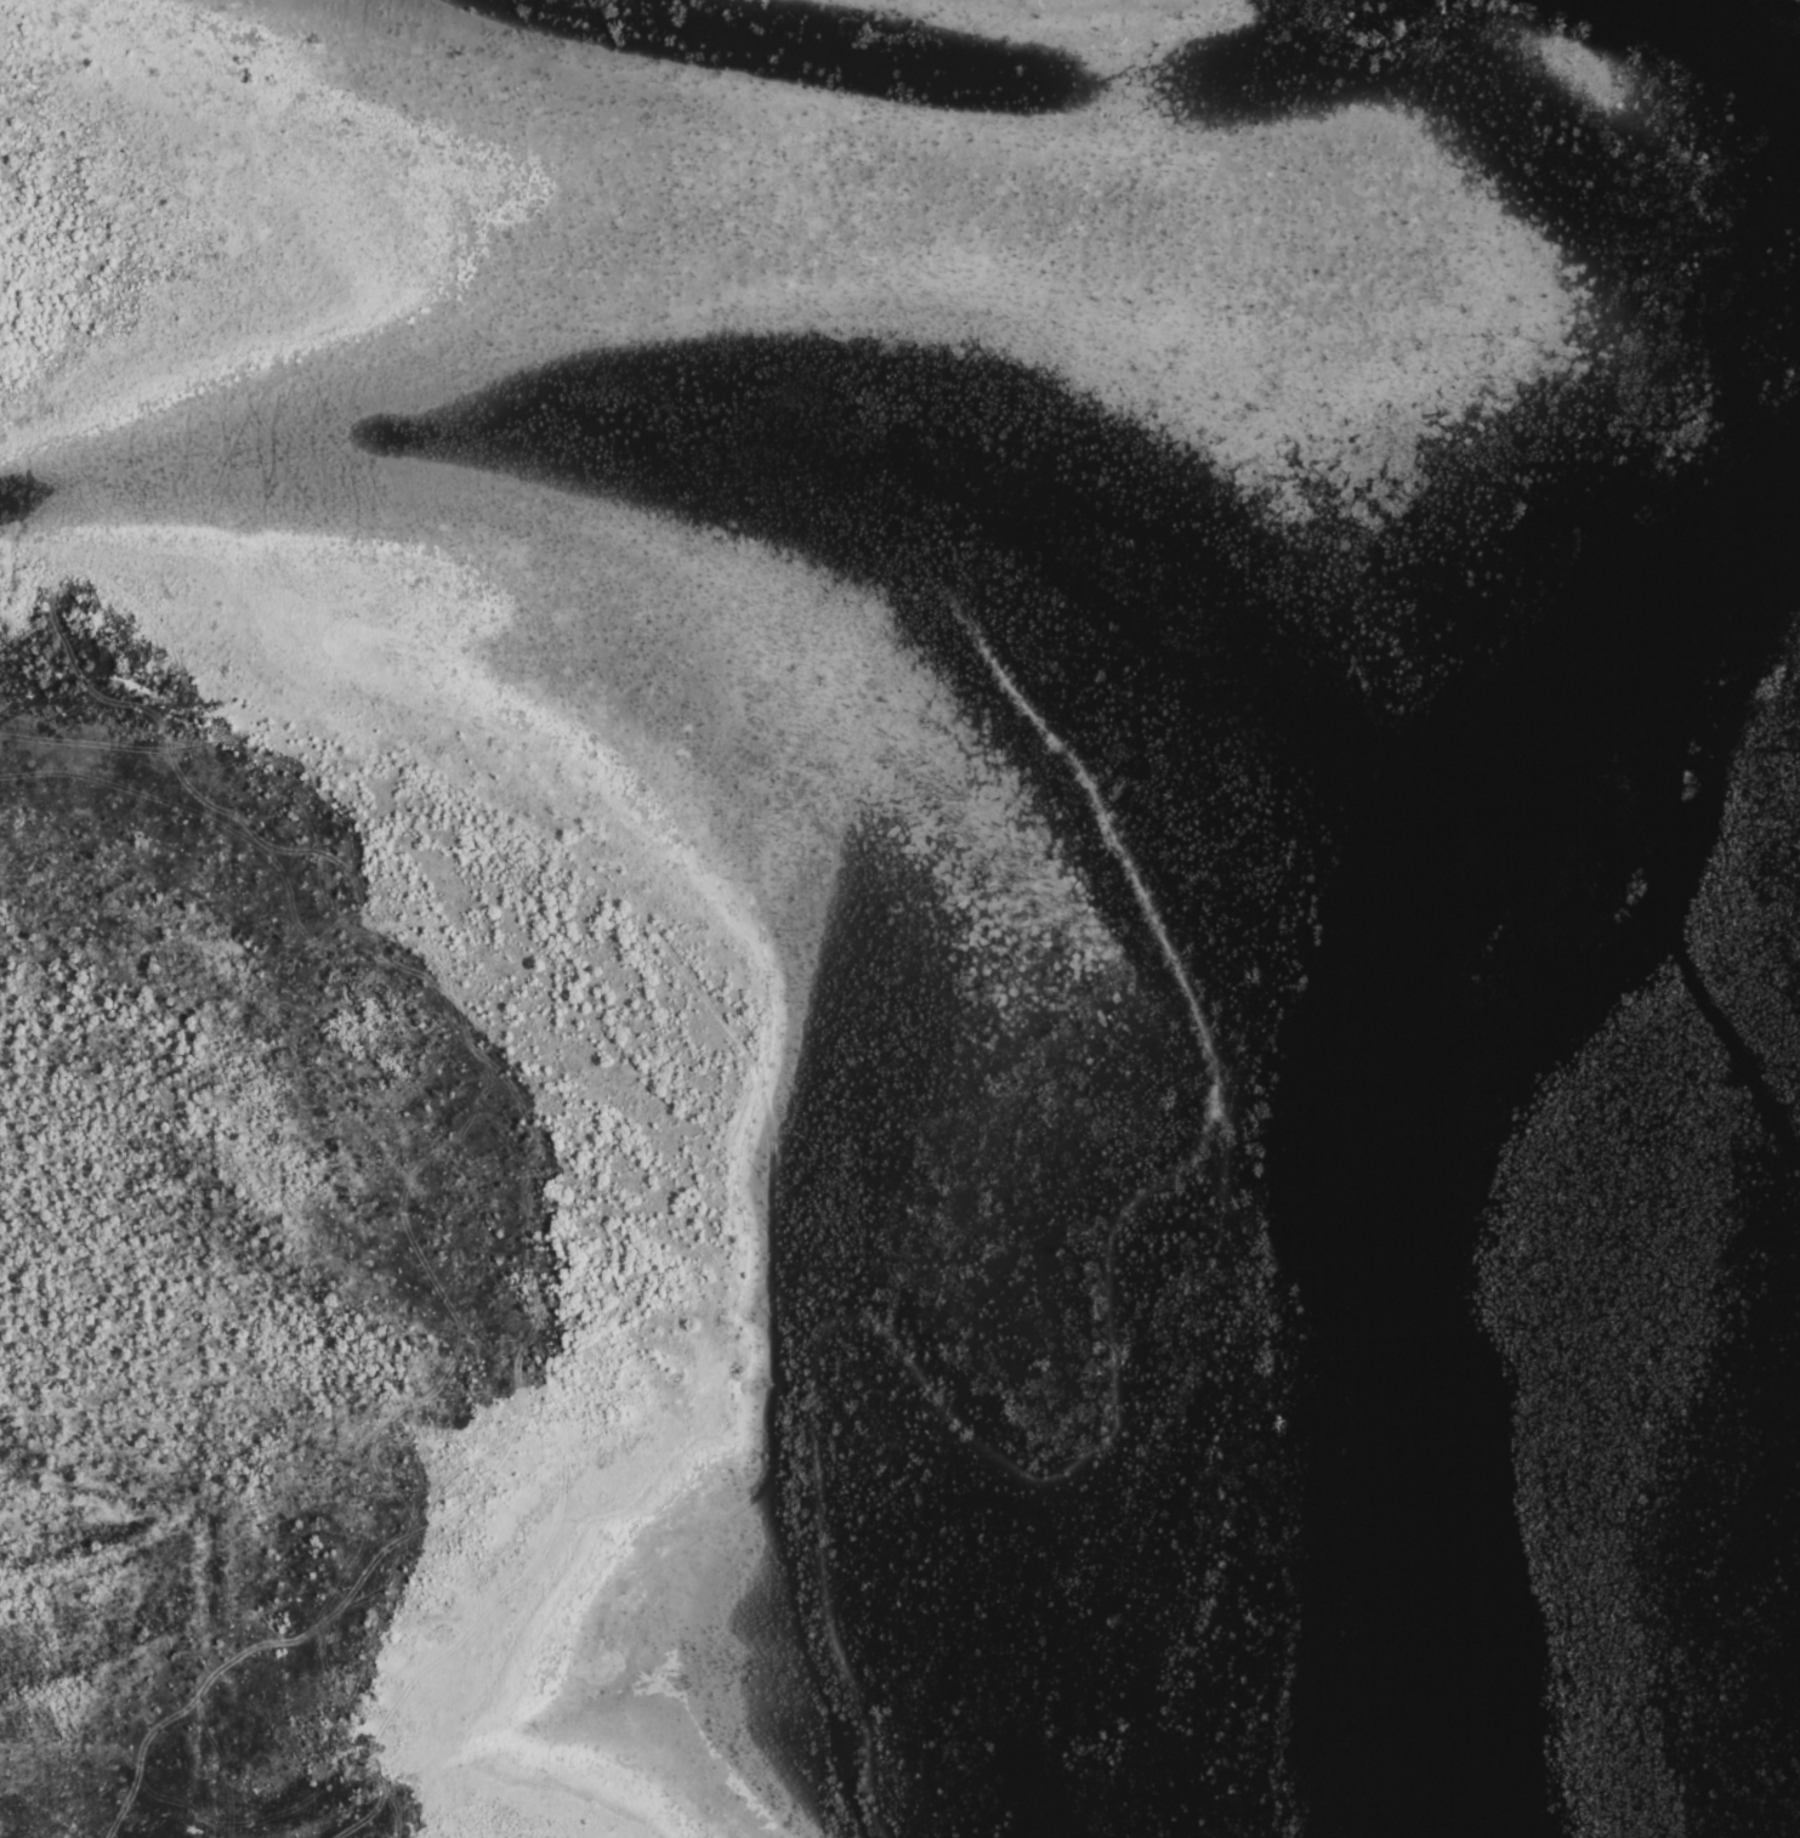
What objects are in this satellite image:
river: (1731, 39)
river: (1347, 1063)

